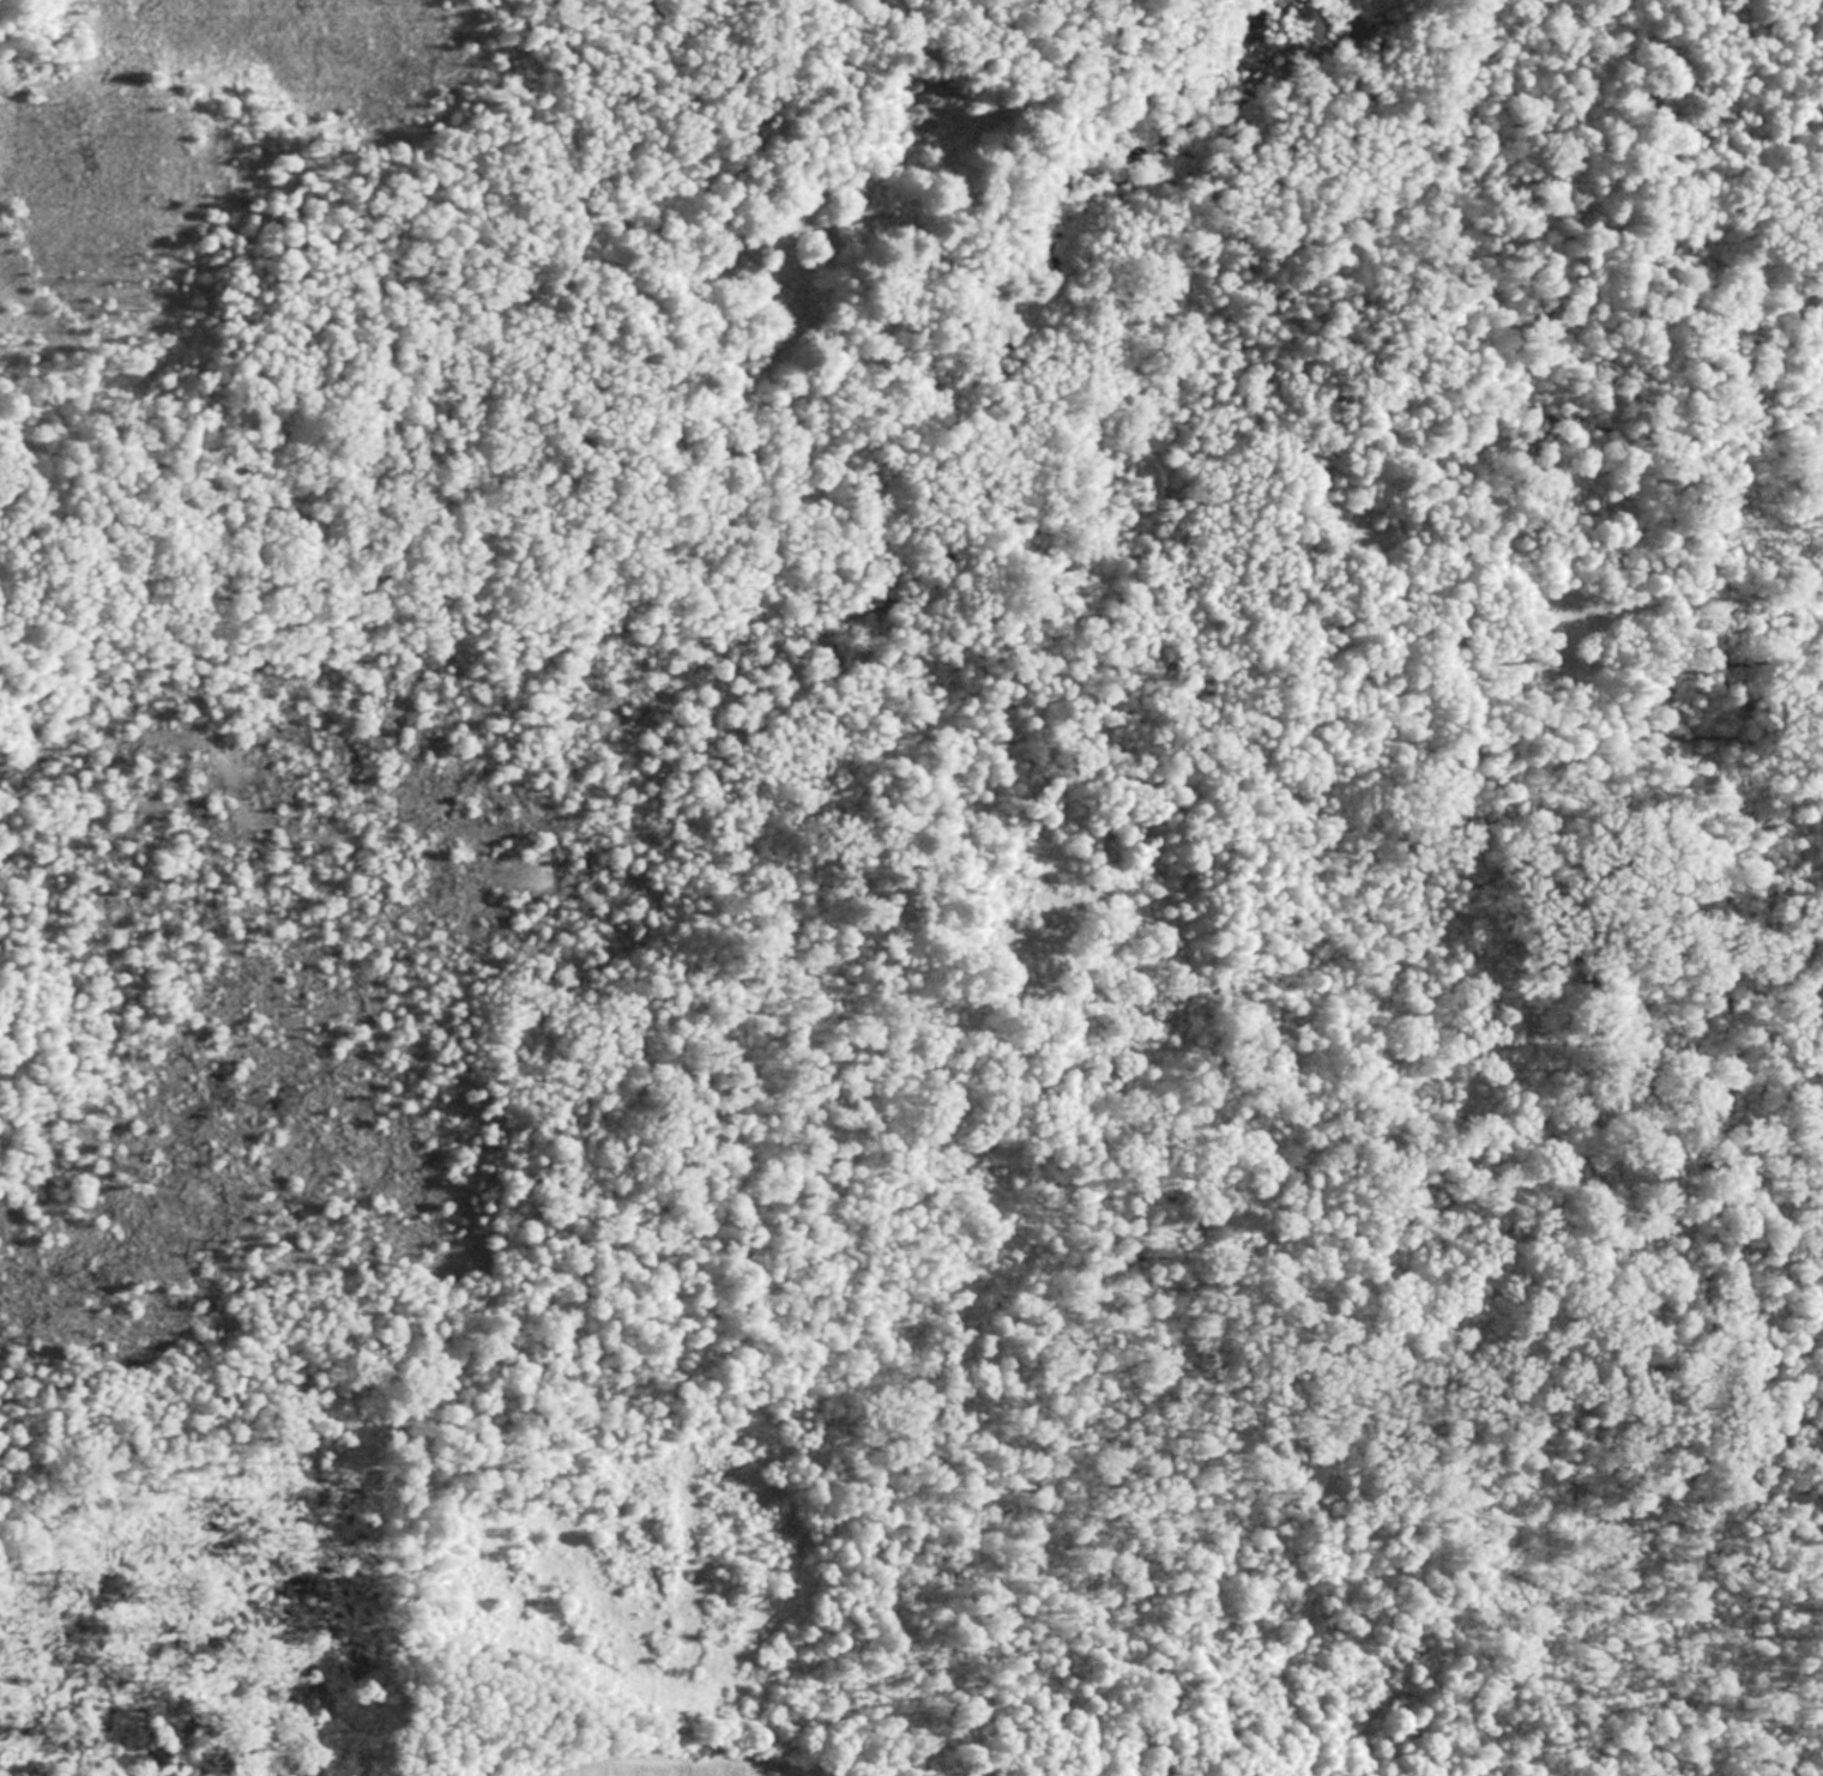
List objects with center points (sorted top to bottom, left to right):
park: (662, 681)

